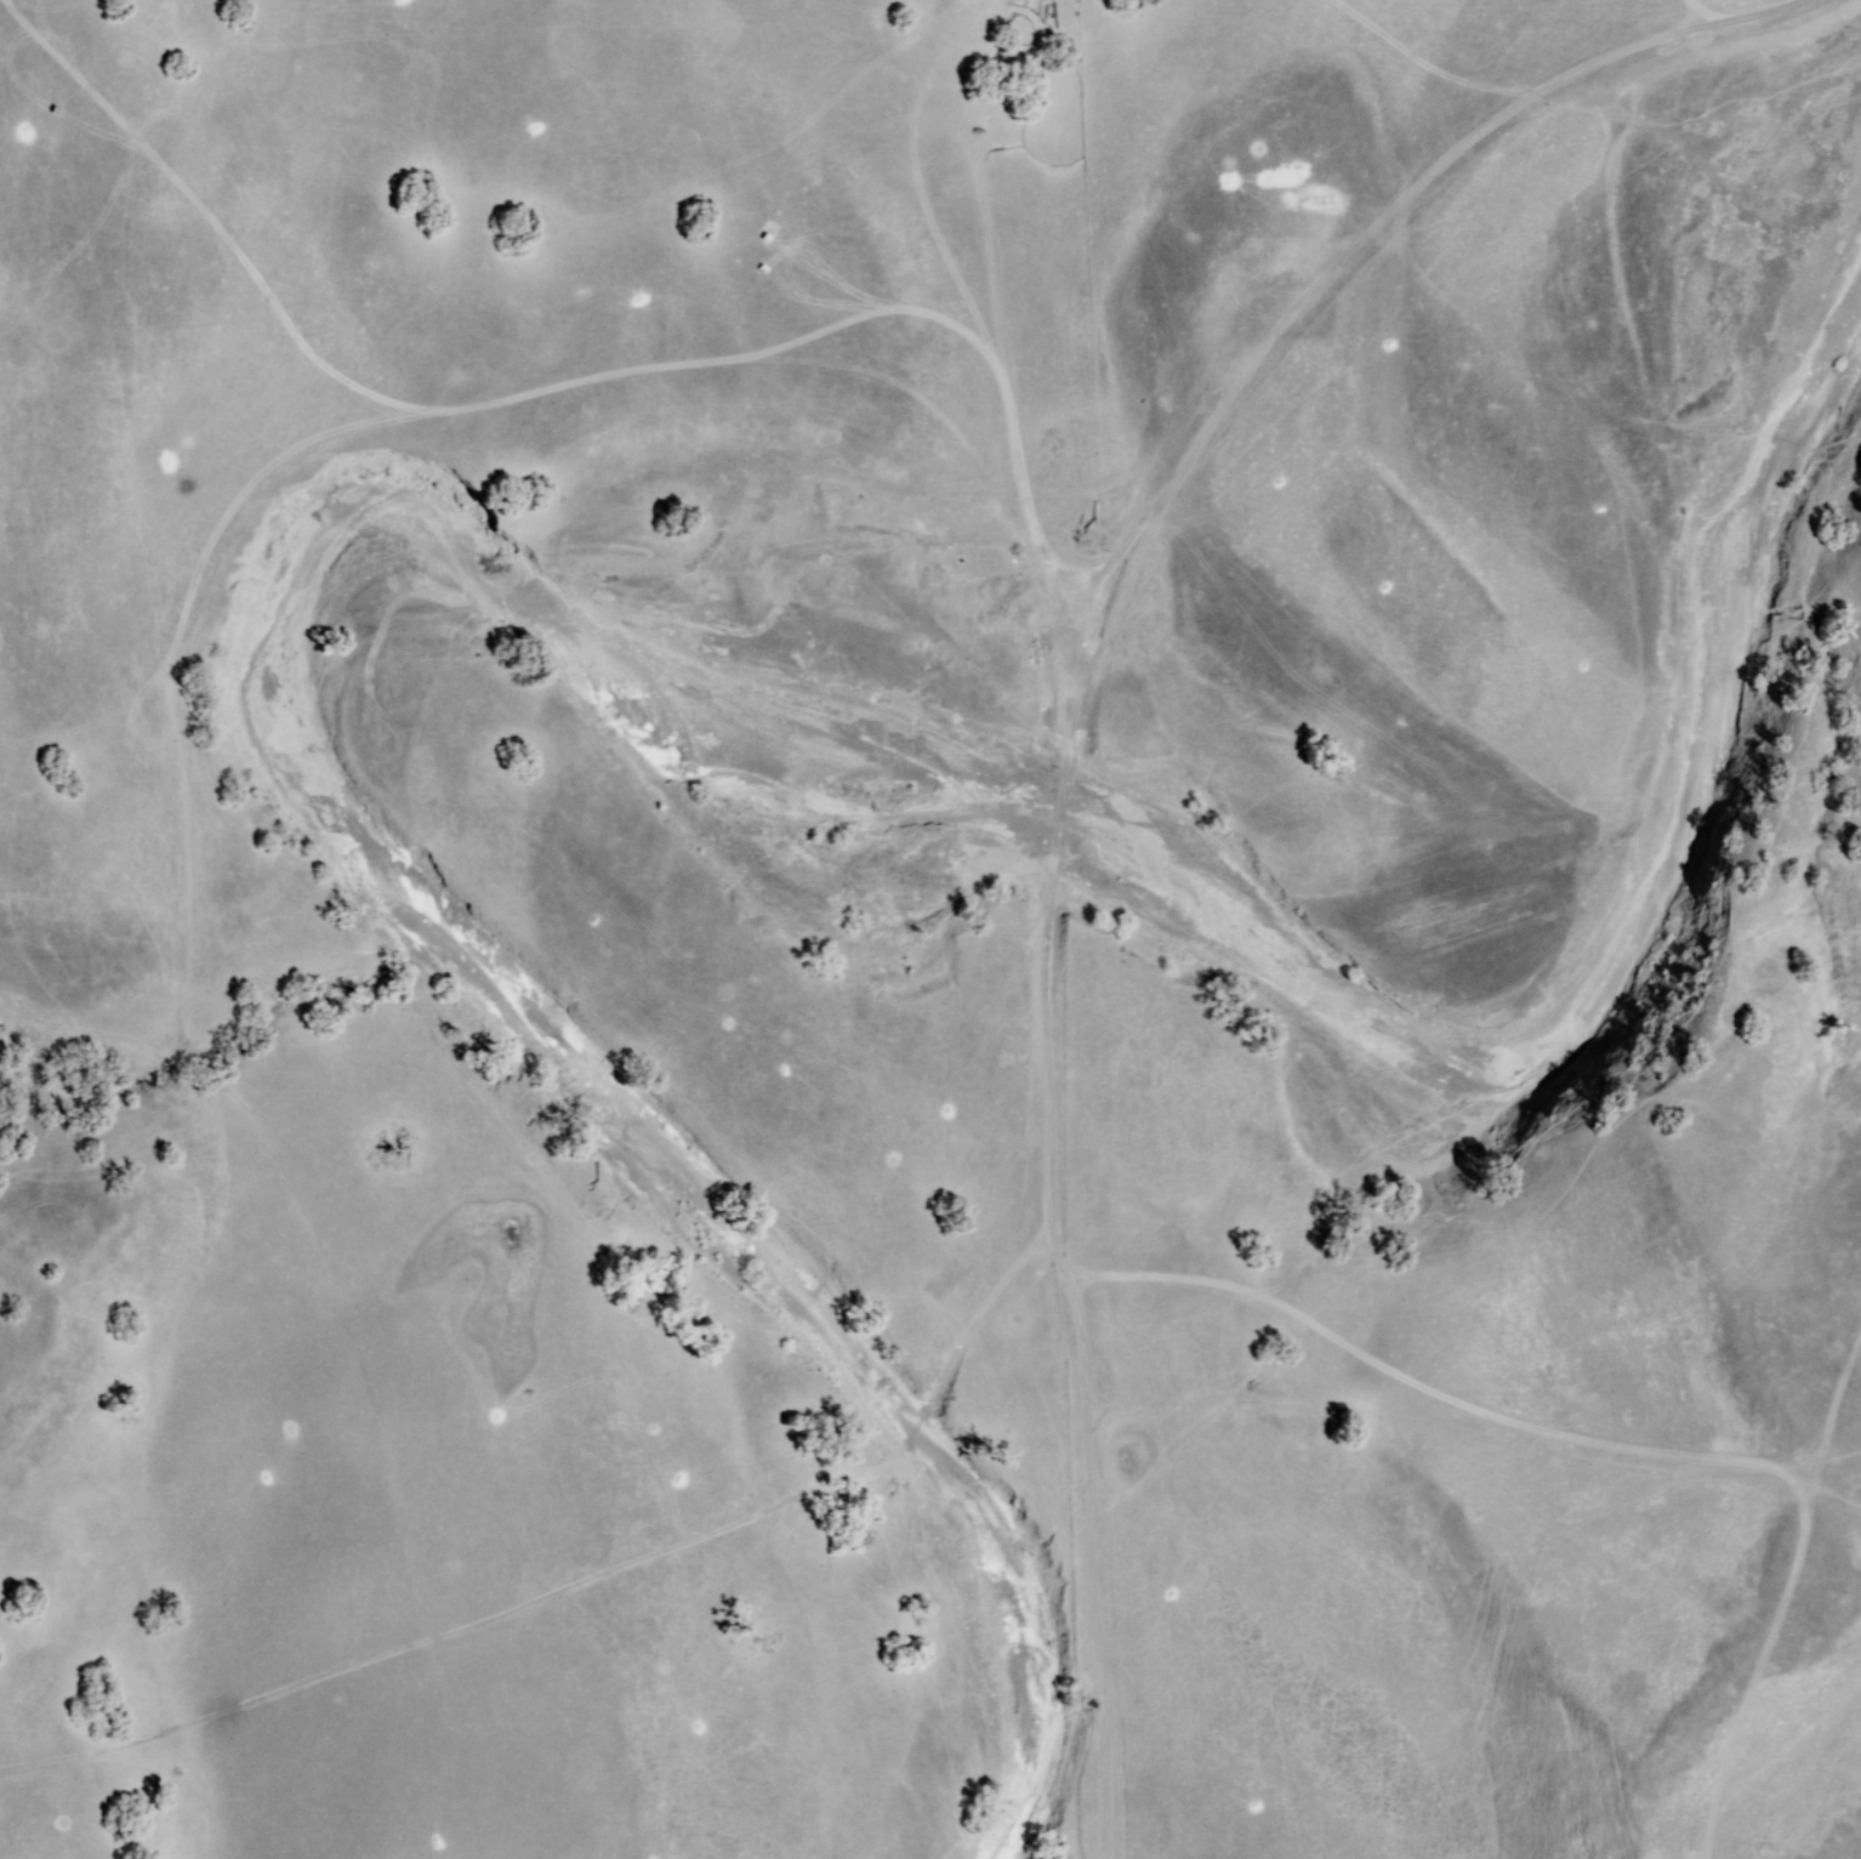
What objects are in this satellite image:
road: (1074, 752)

